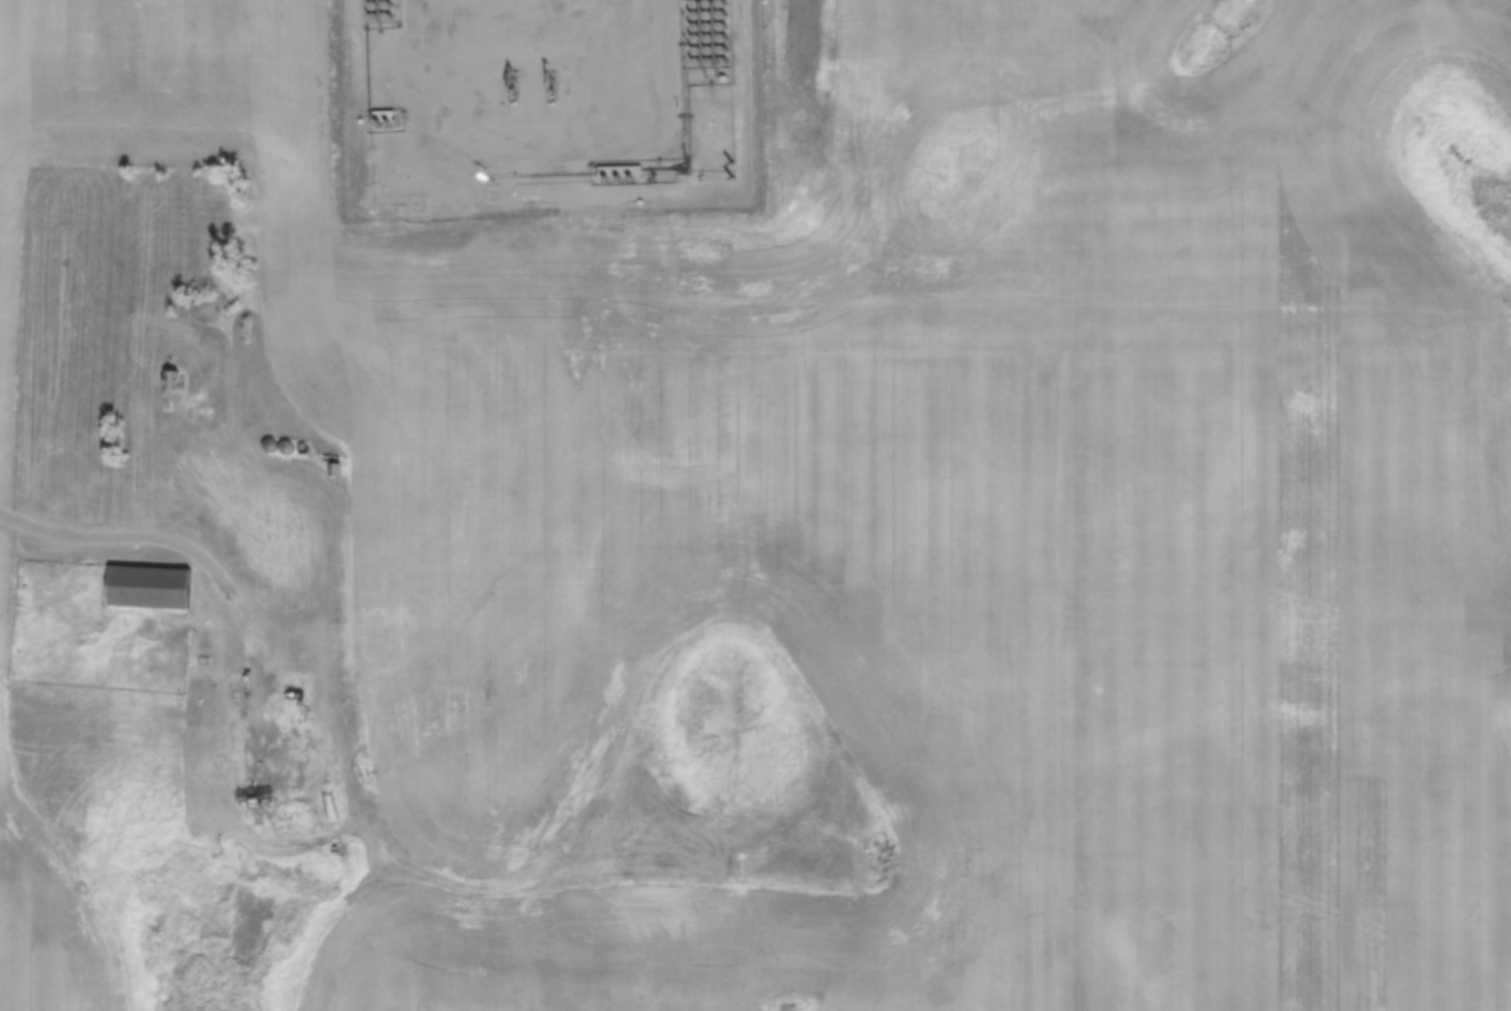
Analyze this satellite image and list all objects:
road: (94, 538)
building: (143, 588)
road: (838, 616)

